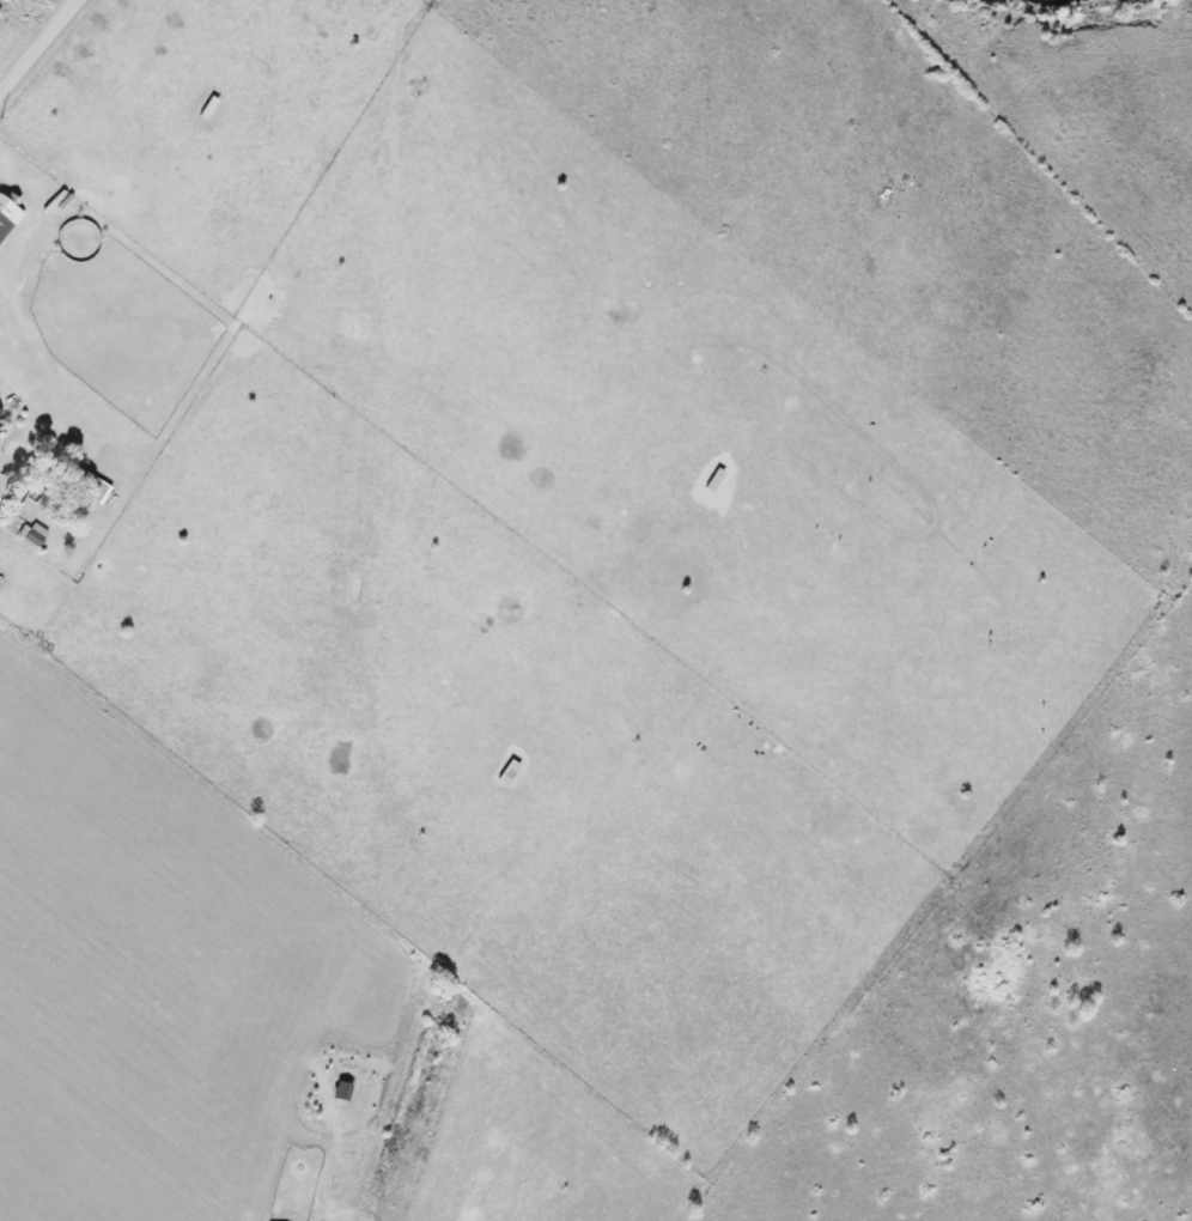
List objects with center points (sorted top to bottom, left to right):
road: (37, 45)
building: (209, 108)
building: (2, 226)
road: (8, 326)
building: (1, 429)
building: (92, 488)

